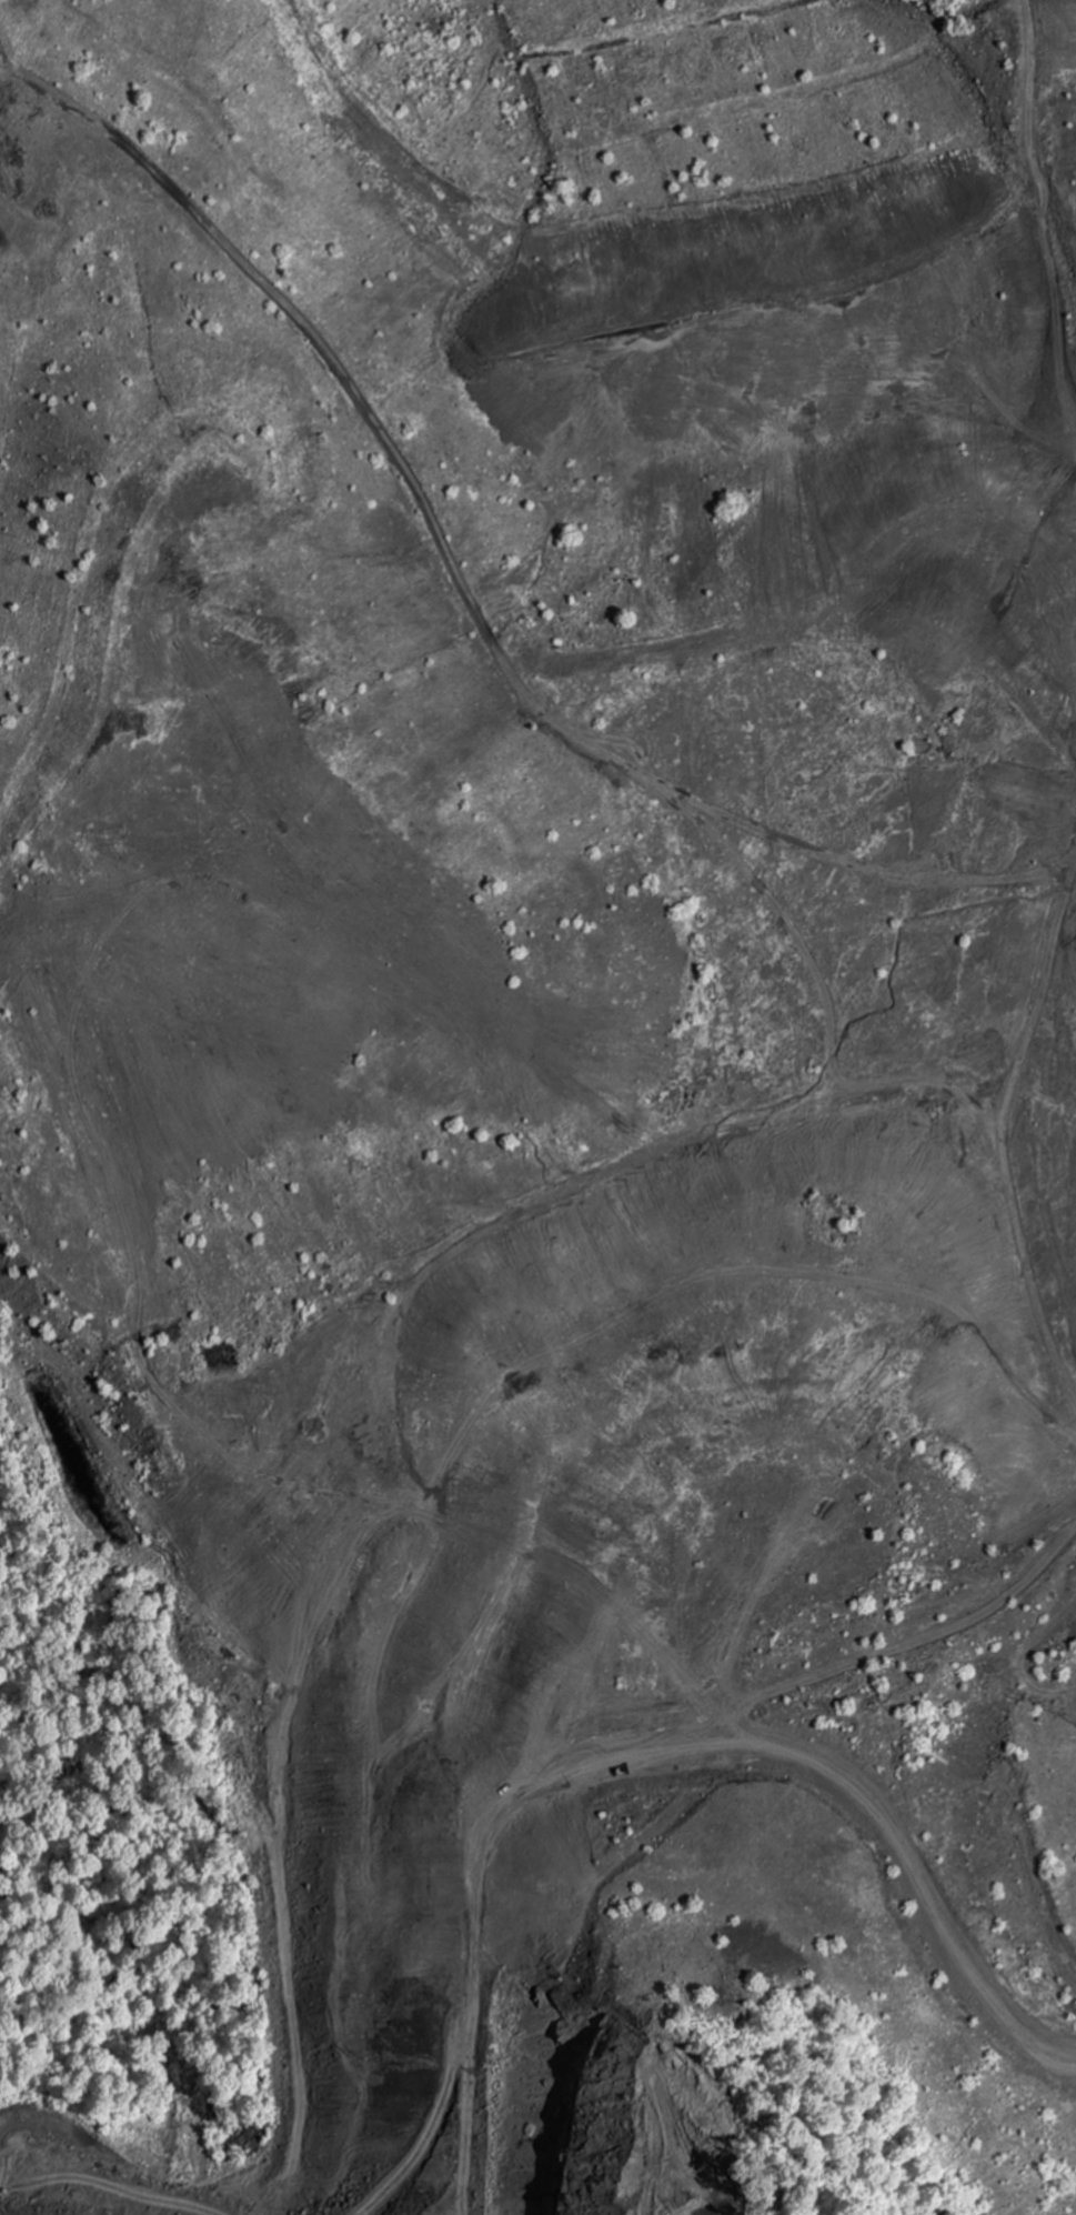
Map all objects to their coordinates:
building: (923, 1000)

